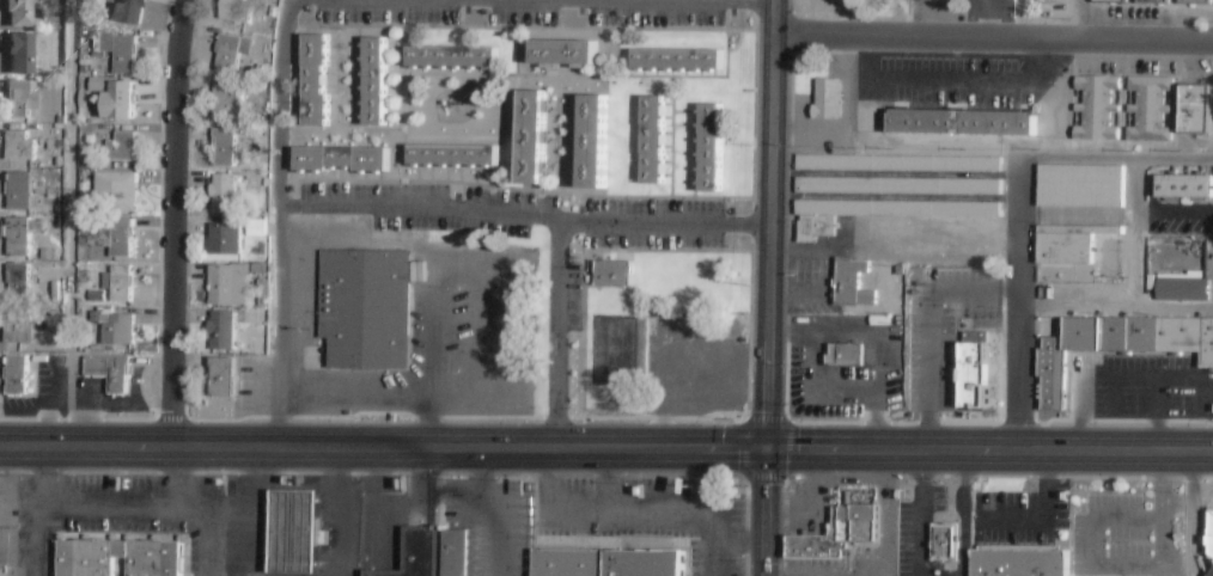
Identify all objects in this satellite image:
building: (1110, 1)
building: (1152, 1)
building: (1196, 2)
building: (134, 11)
building: (240, 11)
building: (22, 13)
road: (935, 18)
road: (987, 19)
road: (1079, 19)
road: (993, 37)
building: (566, 53)
building: (23, 54)
building: (230, 55)
building: (126, 56)
building: (452, 57)
building: (676, 57)
building: (315, 81)
building: (376, 81)
building: (19, 99)
building: (827, 102)
building: (127, 103)
building: (228, 104)
road: (276, 105)
building: (1098, 110)
building: (1151, 111)
building: (1197, 114)
building: (961, 125)
building: (531, 137)
building: (595, 142)
building: (653, 142)
building: (22, 147)
building: (124, 148)
building: (226, 148)
building: (709, 148)
building: (453, 155)
road: (1116, 157)
building: (340, 158)
building: (897, 165)
building: (897, 188)
building: (1081, 188)
building: (1187, 190)
building: (22, 192)
building: (118, 194)
building: (226, 194)
building: (898, 210)
road: (68, 222)
road: (175, 222)
road: (769, 223)
building: (813, 227)
building: (931, 227)
building: (255, 229)
building: (19, 238)
building: (123, 240)
building: (228, 241)
building: (926, 244)
building: (1069, 246)
building: (611, 271)
building: (849, 282)
building: (20, 283)
building: (121, 284)
building: (231, 287)
building: (1183, 292)
road: (1018, 304)
building: (362, 310)
building: (19, 331)
building: (121, 332)
building: (225, 332)
road: (559, 333)
building: (1083, 333)
building: (1152, 335)
building: (1207, 343)
building: (845, 354)
building: (108, 370)
building: (973, 370)
building: (1050, 373)
building: (16, 376)
building: (221, 376)
road: (382, 447)
traffic signals: (766, 449)
road: (988, 451)
road: (764, 513)
building: (286, 529)
building: (837, 531)
building: (1207, 540)
building: (946, 545)
building: (413, 553)
building: (453, 553)
building: (606, 563)
building: (1019, 565)
building: (85, 566)

